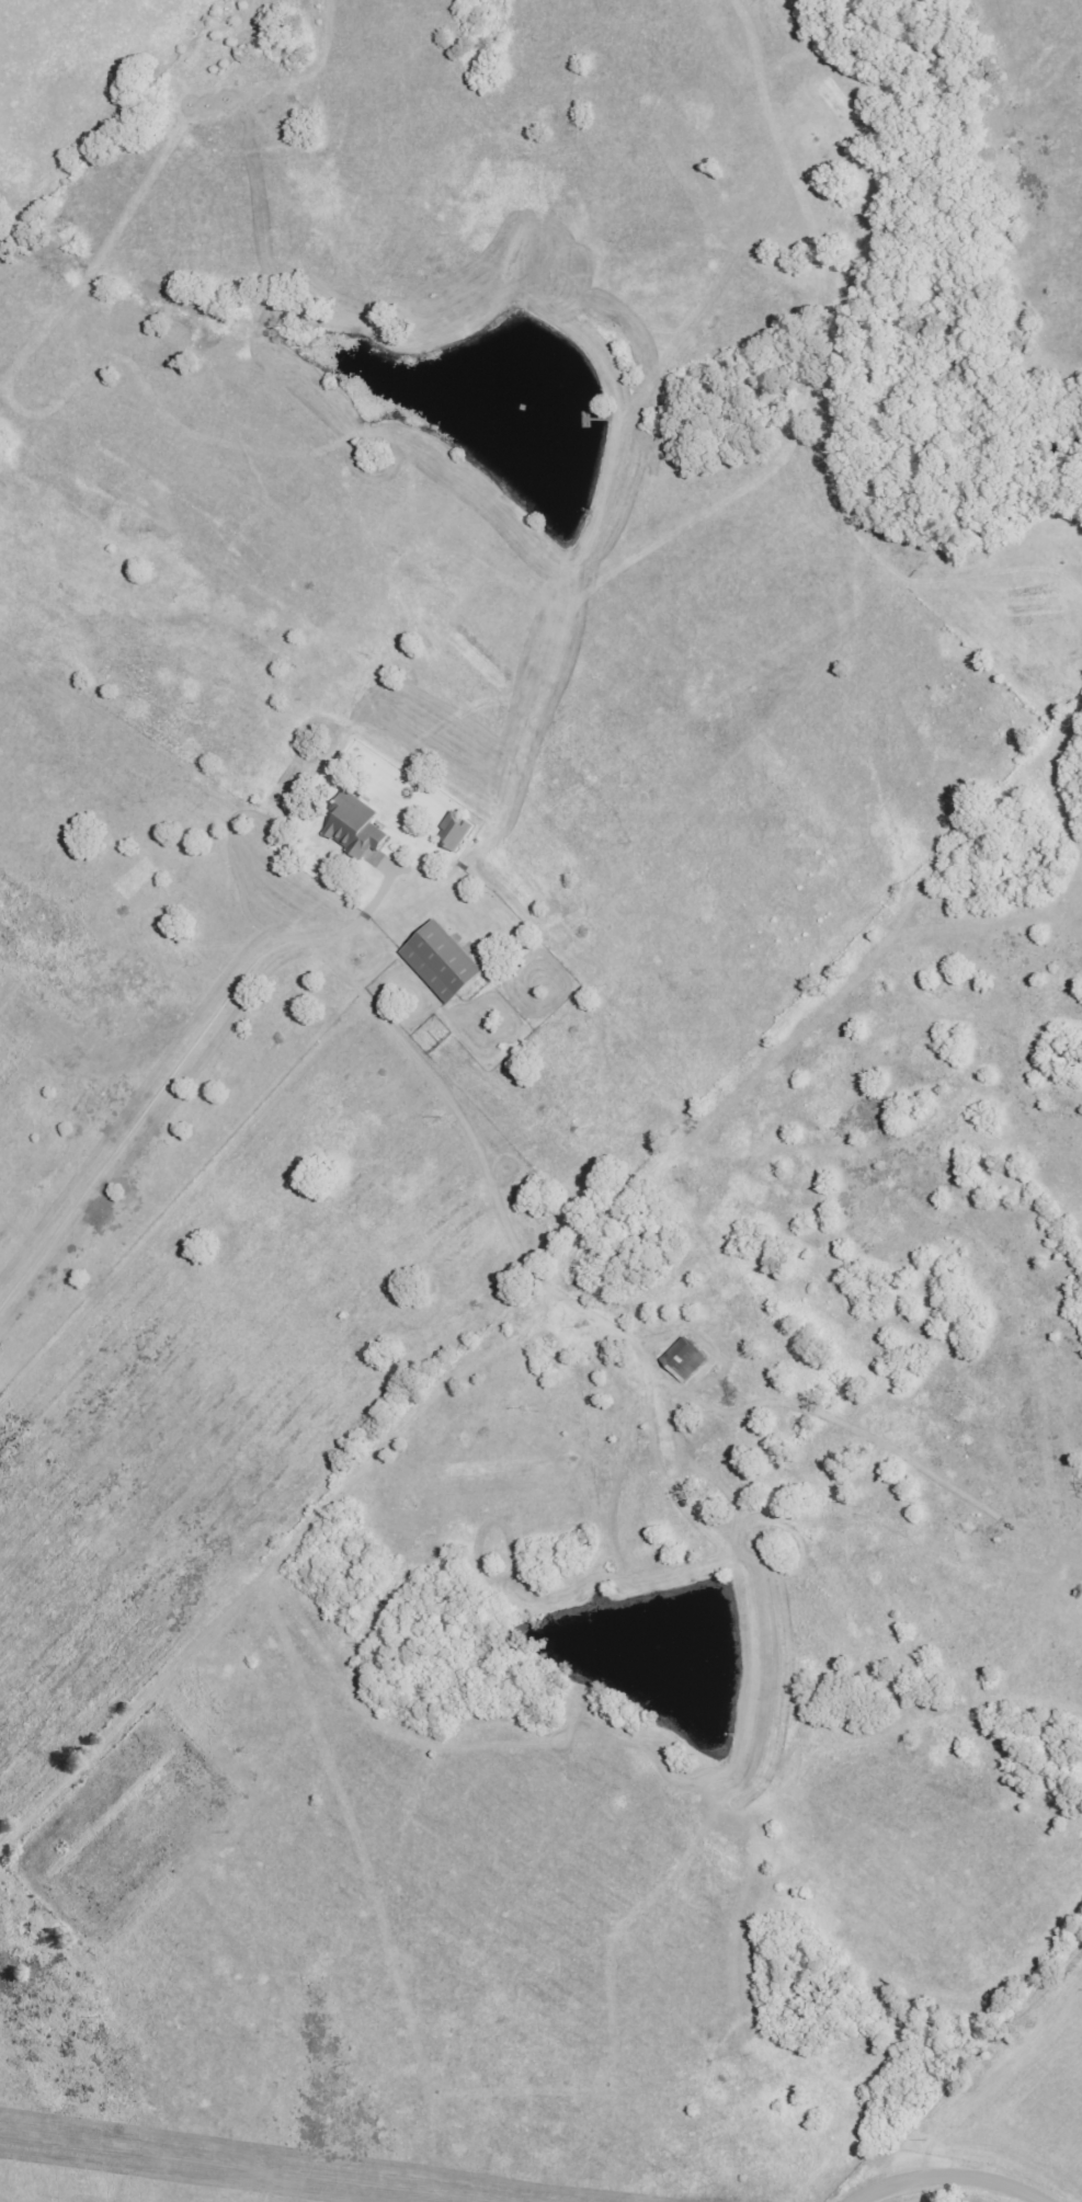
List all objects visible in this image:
building: (358, 825)
building: (457, 831)
building: (444, 961)
road: (157, 1095)
building: (684, 1359)
road: (955, 2177)

